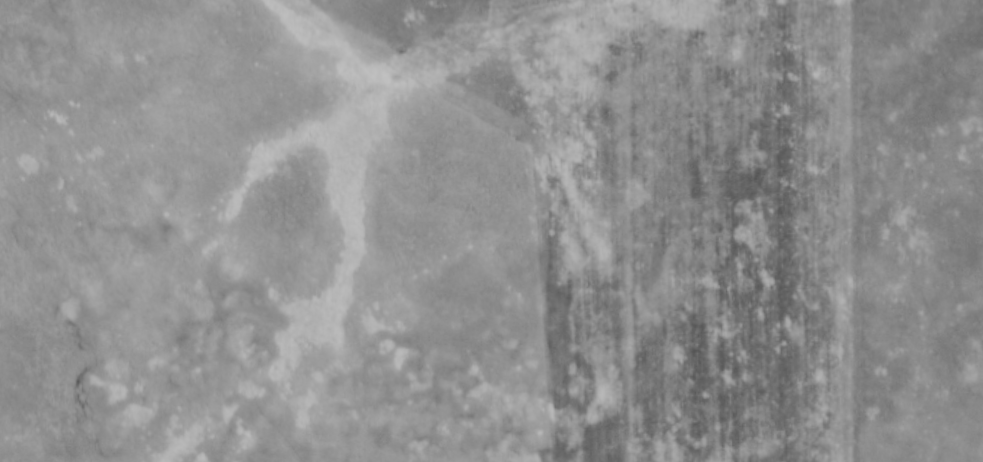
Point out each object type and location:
road: (845, 230)

